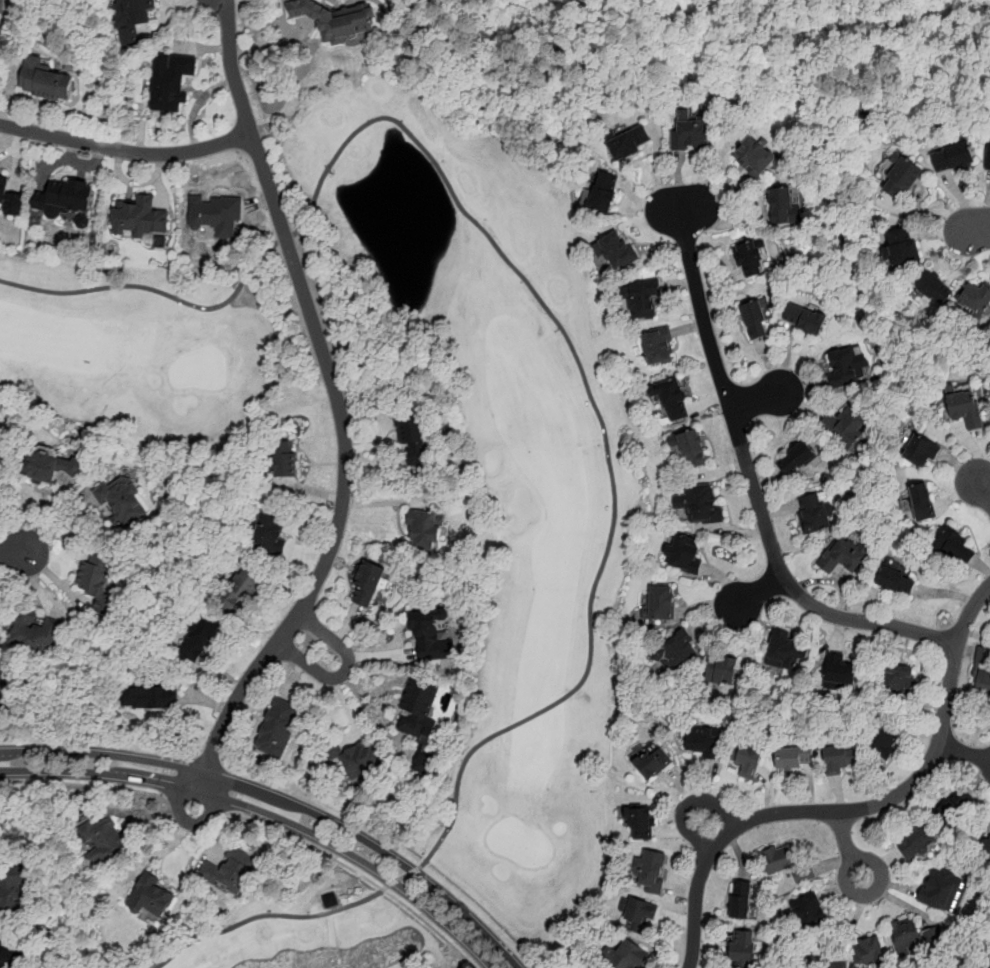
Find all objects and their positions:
building: (2, 6)
building: (132, 19)
building: (338, 19)
building: (44, 81)
building: (171, 81)
building: (691, 134)
building: (630, 142)
road: (125, 151)
building: (955, 154)
building: (988, 156)
building: (754, 157)
building: (901, 177)
building: (601, 193)
building: (64, 198)
building: (9, 203)
building: (782, 206)
building: (215, 216)
building: (139, 217)
road: (979, 227)
road: (286, 240)
building: (903, 246)
building: (619, 250)
building: (751, 258)
building: (934, 288)
road: (154, 289)
building: (640, 298)
building: (975, 298)
building: (755, 319)
building: (806, 319)
building: (657, 348)
building: (846, 368)
road: (756, 397)
road: (338, 401)
building: (671, 401)
building: (965, 407)
road: (600, 418)
building: (845, 426)
building: (411, 438)
building: (689, 449)
building: (922, 452)
building: (284, 457)
building: (0, 458)
building: (796, 459)
building: (52, 466)
road: (753, 484)
road: (983, 490)
building: (123, 502)
building: (922, 502)
building: (697, 504)
park: (565, 513)
building: (814, 513)
building: (426, 528)
building: (269, 533)
building: (954, 544)
road: (13, 552)
building: (682, 555)
building: (844, 556)
building: (97, 580)
building: (896, 582)
building: (368, 583)
building: (238, 588)
road: (760, 589)
building: (662, 604)
building: (426, 629)
building: (38, 632)
building: (199, 638)
building: (782, 650)
building: (670, 656)
building: (722, 666)
road: (346, 671)
building: (838, 673)
building: (898, 680)
building: (2, 681)
building: (982, 682)
building: (151, 698)
building: (417, 711)
building: (278, 727)
building: (883, 739)
building: (703, 742)
road: (965, 752)
building: (795, 759)
building: (836, 760)
building: (357, 761)
building: (650, 761)
building: (745, 761)
road: (80, 784)
road: (196, 802)
road: (688, 804)
road: (276, 807)
road: (857, 808)
building: (956, 808)
building: (638, 824)
building: (105, 840)
building: (916, 842)
road: (847, 847)
building: (986, 849)
building: (787, 862)
building: (230, 872)
building: (648, 872)
road: (362, 875)
road: (400, 877)
building: (13, 888)
building: (943, 892)
building: (150, 898)
building: (740, 901)
road: (264, 914)
building: (638, 914)
building: (807, 915)
building: (912, 936)
building: (743, 948)
building: (7, 951)
building: (868, 952)
building: (626, 954)
building: (593, 966)

